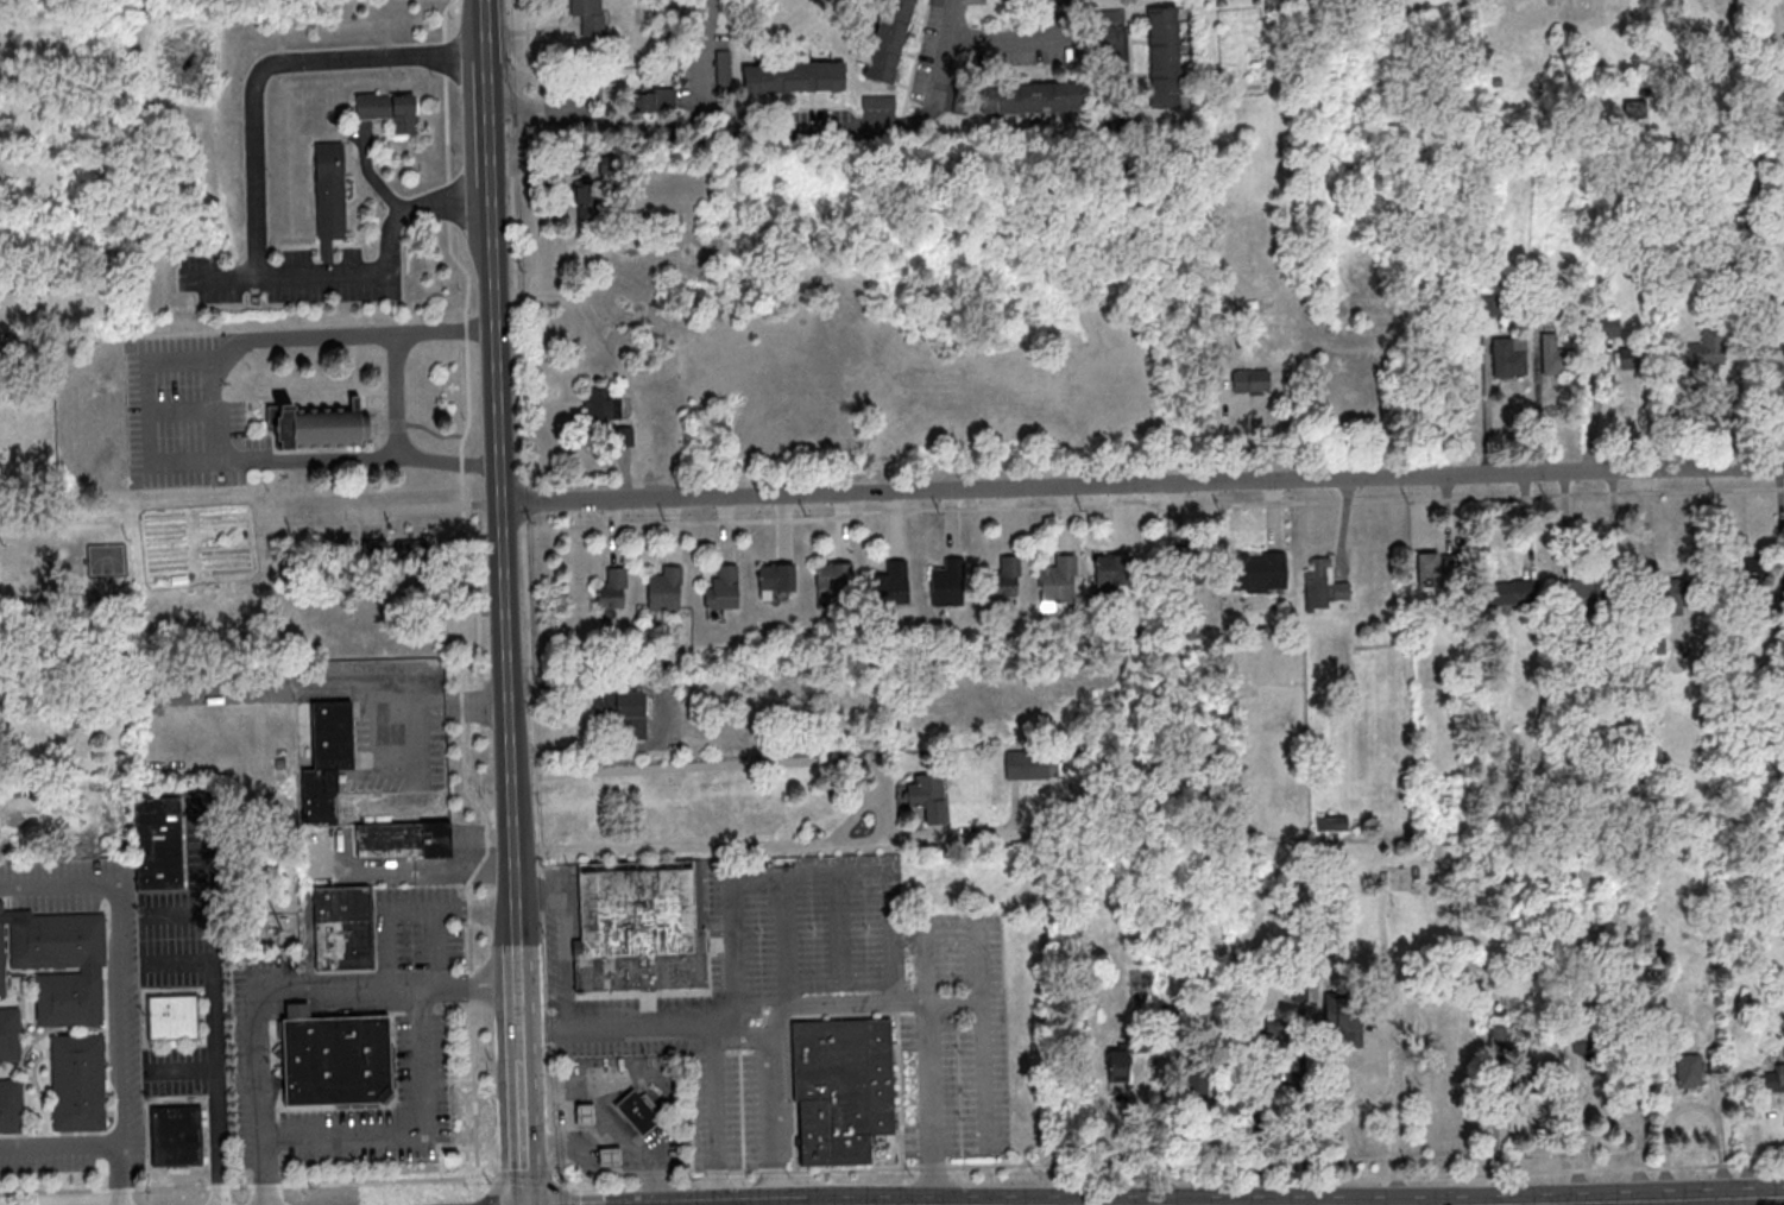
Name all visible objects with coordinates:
building: (938, 2)
building: (590, 15)
road: (952, 18)
road: (483, 32)
road: (1016, 38)
building: (889, 40)
building: (1164, 56)
building: (723, 65)
building: (794, 77)
building: (1032, 97)
building: (654, 99)
building: (878, 101)
building: (390, 112)
road: (600, 122)
road: (486, 128)
road: (805, 128)
road: (370, 175)
building: (330, 197)
road: (254, 198)
building: (590, 203)
road: (219, 276)
building: (1609, 324)
building: (1778, 326)
building: (1706, 348)
building: (1556, 353)
building: (1508, 355)
building: (1632, 358)
building: (1250, 380)
road: (399, 397)
building: (599, 402)
road: (144, 409)
building: (322, 428)
building: (628, 436)
road: (1143, 484)
building: (374, 549)
building: (416, 550)
building: (1191, 564)
building: (1439, 564)
building: (1111, 568)
building: (1257, 569)
building: (833, 575)
building: (1006, 576)
building: (1747, 576)
building: (776, 580)
building: (1059, 580)
building: (893, 582)
building: (947, 582)
building: (1323, 586)
road: (506, 587)
building: (723, 587)
building: (666, 588)
building: (612, 589)
building: (1512, 592)
building: (1583, 592)
building: (1670, 597)
road: (330, 674)
road: (477, 706)
building: (622, 713)
road: (668, 713)
building: (1603, 727)
building: (1670, 740)
building: (323, 747)
building: (1026, 768)
road: (877, 782)
building: (928, 795)
building: (1331, 825)
building: (403, 839)
road: (947, 839)
building: (158, 844)
road: (800, 863)
road: (464, 866)
road: (373, 868)
road: (411, 907)
road: (174, 911)
building: (341, 927)
building: (638, 927)
road: (787, 934)
road: (978, 958)
road: (118, 959)
road: (176, 960)
building: (57, 963)
road: (282, 989)
road: (212, 998)
road: (858, 998)
road: (519, 1002)
building: (174, 1015)
building: (1344, 1018)
road: (619, 1021)
road: (746, 1031)
building: (10, 1034)
building: (1505, 1039)
road: (983, 1043)
building: (333, 1058)
building: (1126, 1059)
road: (179, 1066)
road: (1612, 1071)
building: (1688, 1072)
building: (1771, 1079)
building: (78, 1081)
building: (1528, 1083)
building: (841, 1089)
building: (1211, 1090)
road: (934, 1100)
road: (777, 1103)
building: (11, 1105)
building: (639, 1110)
road: (718, 1110)
road: (522, 1112)
building: (584, 1115)
road: (610, 1115)
road: (414, 1130)
building: (176, 1134)
road: (1398, 1140)
road: (573, 1143)
road: (59, 1148)
building: (609, 1156)
road: (119, 1176)
road: (1635, 1200)

